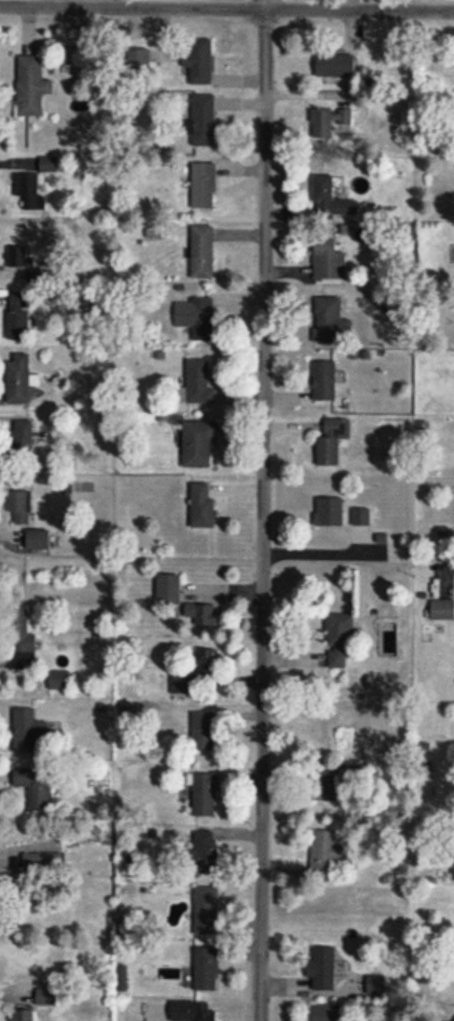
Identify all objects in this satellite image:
road: (227, 8)
building: (139, 61)
building: (200, 63)
building: (336, 67)
building: (32, 88)
building: (203, 122)
building: (329, 123)
building: (50, 165)
building: (204, 187)
building: (28, 191)
building: (331, 200)
building: (203, 254)
building: (21, 262)
building: (329, 262)
building: (19, 318)
building: (197, 319)
building: (328, 321)
building: (19, 381)
building: (325, 382)
building: (200, 384)
building: (23, 442)
building: (333, 443)
building: (199, 445)
building: (203, 509)
building: (21, 510)
road: (263, 510)
building: (340, 515)
building: (39, 542)
building: (170, 592)
building: (443, 611)
building: (203, 616)
building: (339, 640)
building: (24, 644)
building: (208, 664)
building: (61, 682)
building: (182, 685)
building: (30, 733)
building: (205, 734)
building: (339, 780)
building: (35, 788)
building: (206, 797)
building: (206, 854)
building: (327, 855)
building: (41, 869)
building: (207, 913)
building: (207, 971)
building: (323, 971)
building: (377, 987)
building: (47, 999)
building: (194, 1012)
building: (329, 1014)
building: (24, 1016)

